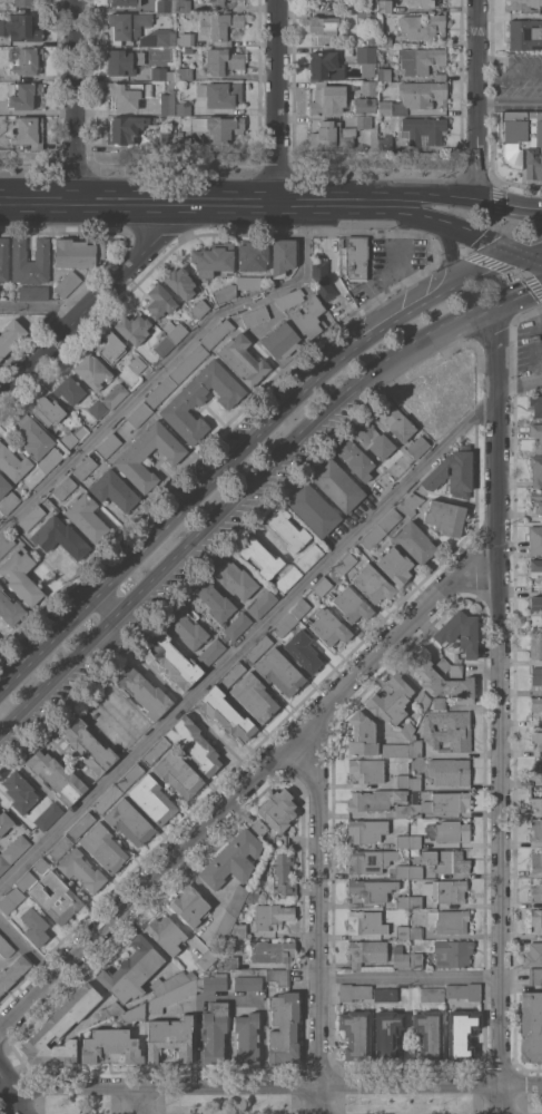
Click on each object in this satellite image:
building: (23, 2)
building: (125, 2)
building: (345, 2)
building: (418, 2)
building: (215, 3)
building: (523, 3)
building: (166, 4)
building: (184, 6)
building: (385, 6)
building: (366, 18)
building: (126, 26)
building: (220, 26)
building: (423, 26)
building: (19, 27)
building: (323, 28)
building: (525, 33)
building: (159, 37)
building: (371, 37)
building: (185, 39)
building: (385, 40)
building: (366, 59)
building: (421, 59)
building: (28, 60)
building: (126, 60)
building: (223, 60)
building: (325, 65)
road: (509, 70)
building: (162, 74)
building: (184, 74)
building: (384, 74)
building: (440, 76)
building: (368, 88)
building: (220, 92)
building: (128, 94)
building: (23, 95)
building: (414, 97)
building: (167, 98)
building: (327, 98)
road: (509, 98)
road: (475, 99)
road: (73, 100)
road: (274, 100)
building: (365, 105)
road: (509, 106)
building: (183, 108)
building: (366, 121)
building: (219, 127)
building: (127, 128)
building: (423, 129)
building: (29, 131)
building: (332, 135)
building: (167, 140)
building: (522, 140)
building: (385, 141)
building: (184, 143)
road: (507, 185)
road: (434, 195)
traffic signals: (475, 199)
road: (37, 201)
road: (129, 201)
road: (199, 202)
road: (229, 202)
road: (259, 202)
road: (300, 202)
road: (388, 213)
road: (494, 231)
road: (481, 238)
road: (528, 248)
building: (79, 252)
traffic signals: (513, 254)
building: (253, 255)
building: (283, 255)
road: (452, 256)
building: (354, 257)
road: (528, 257)
building: (4, 258)
building: (214, 258)
building: (30, 261)
road: (506, 266)
road: (480, 270)
building: (323, 280)
building: (179, 282)
building: (248, 282)
building: (67, 283)
building: (33, 292)
building: (225, 293)
road: (515, 294)
building: (290, 299)
building: (159, 300)
road: (96, 302)
road: (46, 305)
building: (199, 307)
building: (255, 315)
building: (308, 316)
road: (518, 316)
building: (132, 328)
building: (175, 330)
building: (217, 333)
building: (10, 335)
building: (280, 340)
building: (164, 345)
building: (111, 346)
building: (243, 360)
building: (137, 363)
road: (169, 364)
building: (92, 371)
building: (176, 375)
building: (69, 389)
building: (115, 394)
building: (200, 400)
building: (535, 404)
building: (97, 409)
building: (48, 410)
building: (139, 414)
building: (396, 421)
building: (536, 432)
building: (72, 436)
building: (35, 437)
building: (374, 439)
building: (108, 444)
building: (417, 447)
building: (134, 453)
building: (355, 458)
building: (50, 460)
building: (13, 462)
building: (85, 467)
building: (536, 469)
building: (452, 472)
road: (214, 476)
building: (33, 477)
building: (3, 485)
building: (337, 485)
building: (63, 488)
building: (114, 489)
road: (230, 499)
building: (535, 499)
building: (9, 501)
building: (410, 504)
building: (313, 508)
building: (86, 517)
building: (445, 517)
building: (31, 518)
building: (388, 519)
building: (288, 529)
building: (59, 536)
building: (373, 536)
building: (535, 539)
building: (415, 541)
building: (6, 544)
building: (259, 557)
building: (309, 557)
road: (41, 563)
building: (345, 563)
building: (395, 565)
building: (535, 565)
building: (21, 576)
building: (235, 578)
building: (287, 578)
building: (373, 583)
building: (322, 586)
road: (109, 600)
building: (215, 602)
building: (535, 603)
building: (262, 604)
building: (352, 605)
building: (10, 608)
building: (300, 608)
road: (264, 623)
building: (285, 624)
building: (237, 625)
building: (329, 626)
building: (187, 628)
building: (445, 633)
building: (535, 647)
building: (258, 648)
building: (303, 651)
building: (210, 652)
building: (174, 659)
building: (449, 667)
building: (279, 672)
building: (231, 675)
building: (536, 676)
building: (440, 678)
building: (142, 691)
building: (254, 697)
building: (422, 700)
building: (391, 701)
road: (179, 702)
building: (438, 702)
building: (535, 703)
road: (496, 710)
building: (226, 713)
building: (407, 730)
building: (447, 730)
building: (362, 735)
building: (536, 739)
building: (88, 744)
building: (195, 744)
building: (415, 746)
building: (395, 750)
building: (155, 751)
building: (367, 769)
building: (450, 771)
building: (540, 771)
building: (178, 773)
building: (56, 776)
building: (130, 778)
building: (402, 780)
building: (415, 782)
road: (244, 788)
building: (19, 791)
building: (108, 799)
building: (152, 799)
building: (375, 799)
building: (450, 800)
building: (536, 802)
building: (277, 809)
building: (402, 810)
building: (415, 810)
building: (48, 815)
building: (129, 821)
building: (6, 822)
building: (80, 824)
building: (258, 827)
building: (536, 828)
building: (366, 830)
building: (452, 830)
building: (280, 840)
building: (414, 840)
building: (403, 841)
building: (60, 847)
building: (104, 847)
building: (16, 848)
building: (233, 859)
building: (369, 860)
building: (446, 860)
building: (536, 861)
building: (3, 863)
building: (41, 864)
building: (81, 869)
building: (402, 870)
building: (415, 870)
building: (282, 872)
building: (26, 880)
building: (372, 889)
building: (445, 890)
building: (536, 891)
building: (254, 895)
building: (56, 897)
building: (11, 899)
building: (237, 899)
building: (403, 901)
building: (415, 901)
building: (189, 905)
building: (272, 915)
road: (317, 915)
building: (536, 919)
building: (449, 920)
building: (366, 921)
building: (225, 925)
building: (35, 926)
building: (238, 930)
building: (402, 931)
building: (166, 932)
building: (416, 932)
building: (6, 947)
building: (273, 951)
building: (366, 951)
building: (453, 952)
road: (23, 954)
building: (533, 954)
building: (400, 956)
building: (206, 958)
building: (415, 959)
building: (230, 961)
building: (131, 969)
building: (12, 971)
road: (408, 974)
building: (191, 975)
building: (278, 976)
building: (534, 976)
building: (211, 981)
building: (169, 983)
building: (247, 983)
building: (464, 990)
building: (353, 991)
building: (384, 994)
building: (431, 994)
building: (171, 996)
road: (255, 996)
building: (111, 1009)
building: (132, 1013)
building: (531, 1026)
building: (284, 1027)
building: (60, 1028)
building: (215, 1030)
building: (387, 1033)
building: (356, 1034)
building: (461, 1034)
building: (428, 1035)
building: (169, 1037)
building: (247, 1037)
road: (196, 1042)
building: (110, 1045)
road: (274, 1083)
road: (7, 1091)
park: (3, 1096)
road: (141, 1100)

